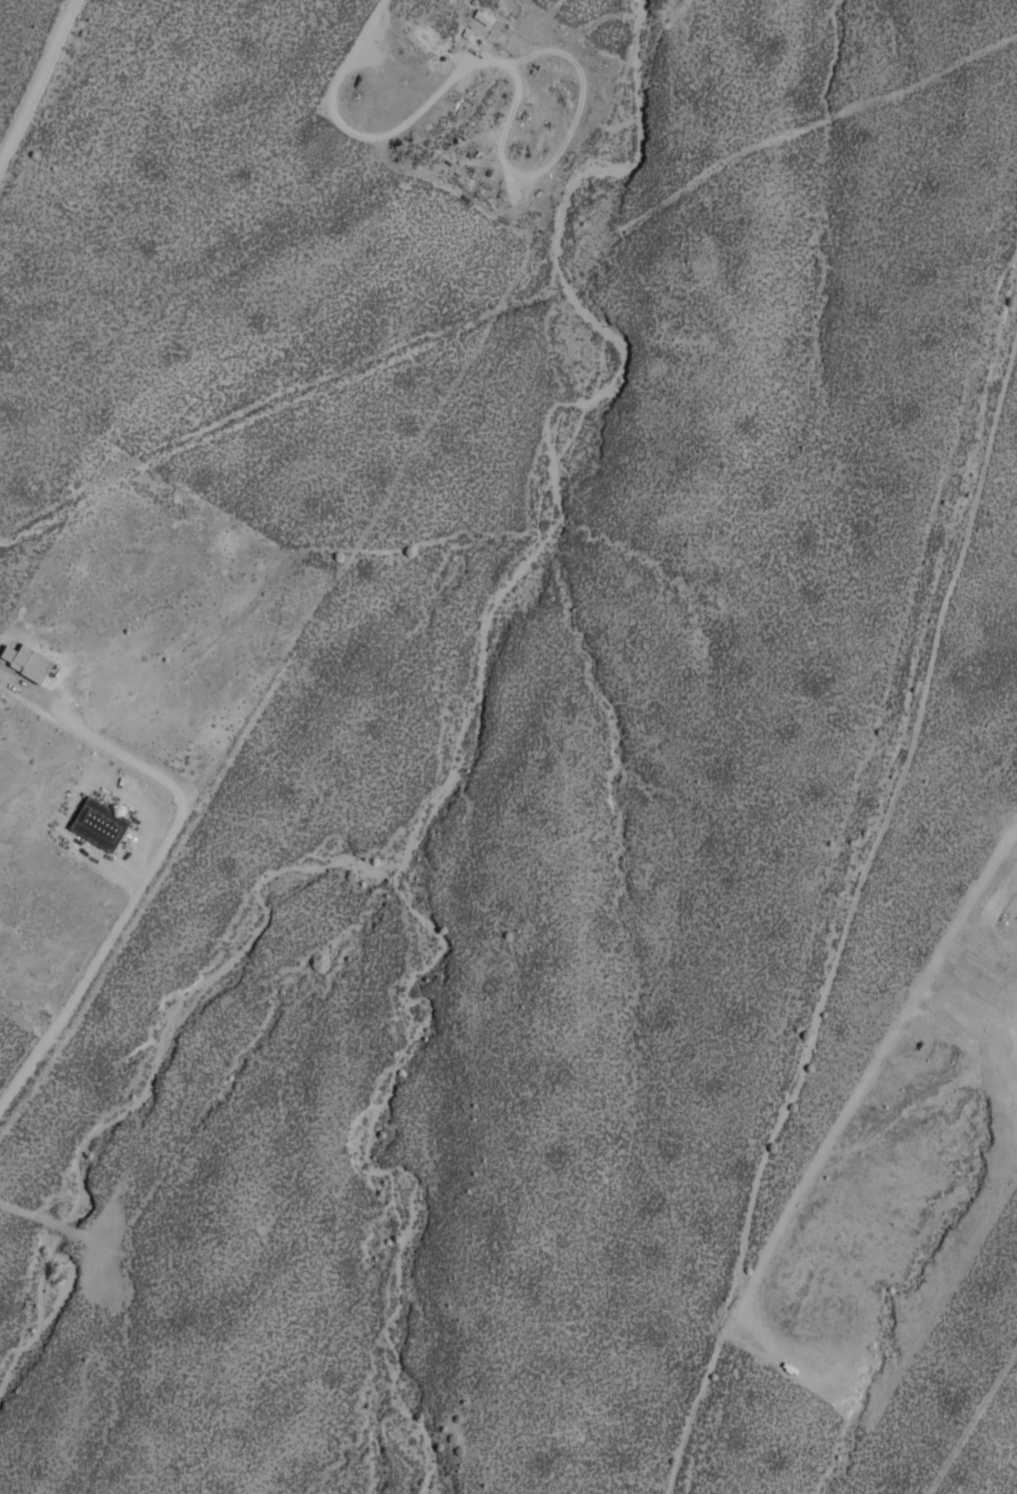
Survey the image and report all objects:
building: (483, 15)
road: (360, 44)
road: (37, 84)
building: (104, 835)
road: (854, 839)
road: (95, 969)

